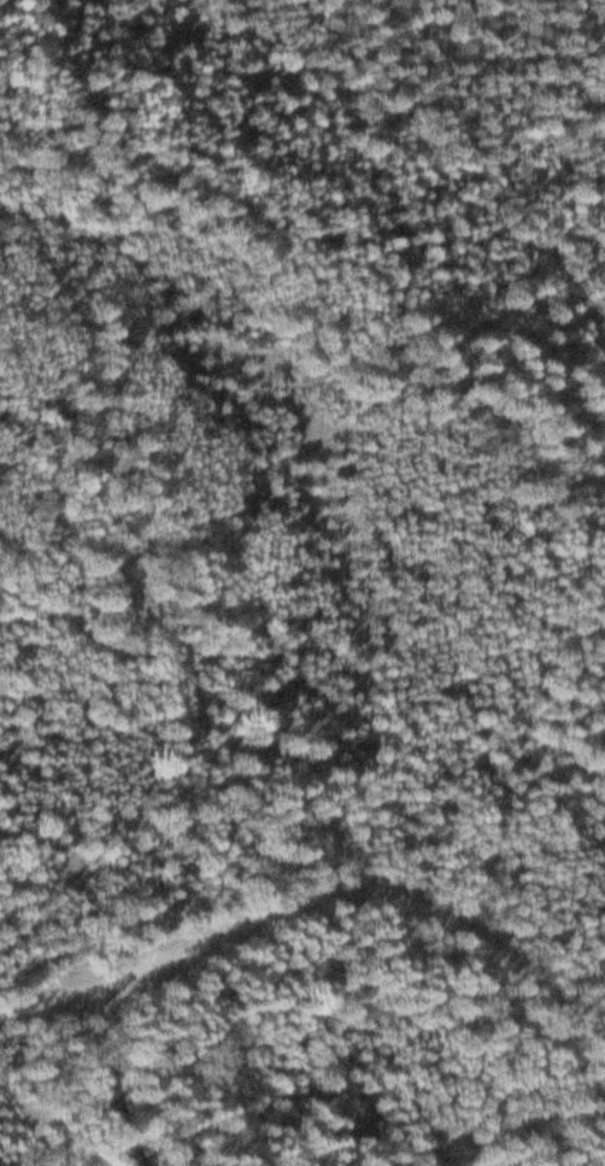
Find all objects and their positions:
road: (362, 88)
road: (546, 251)
road: (312, 904)
road: (113, 1085)

